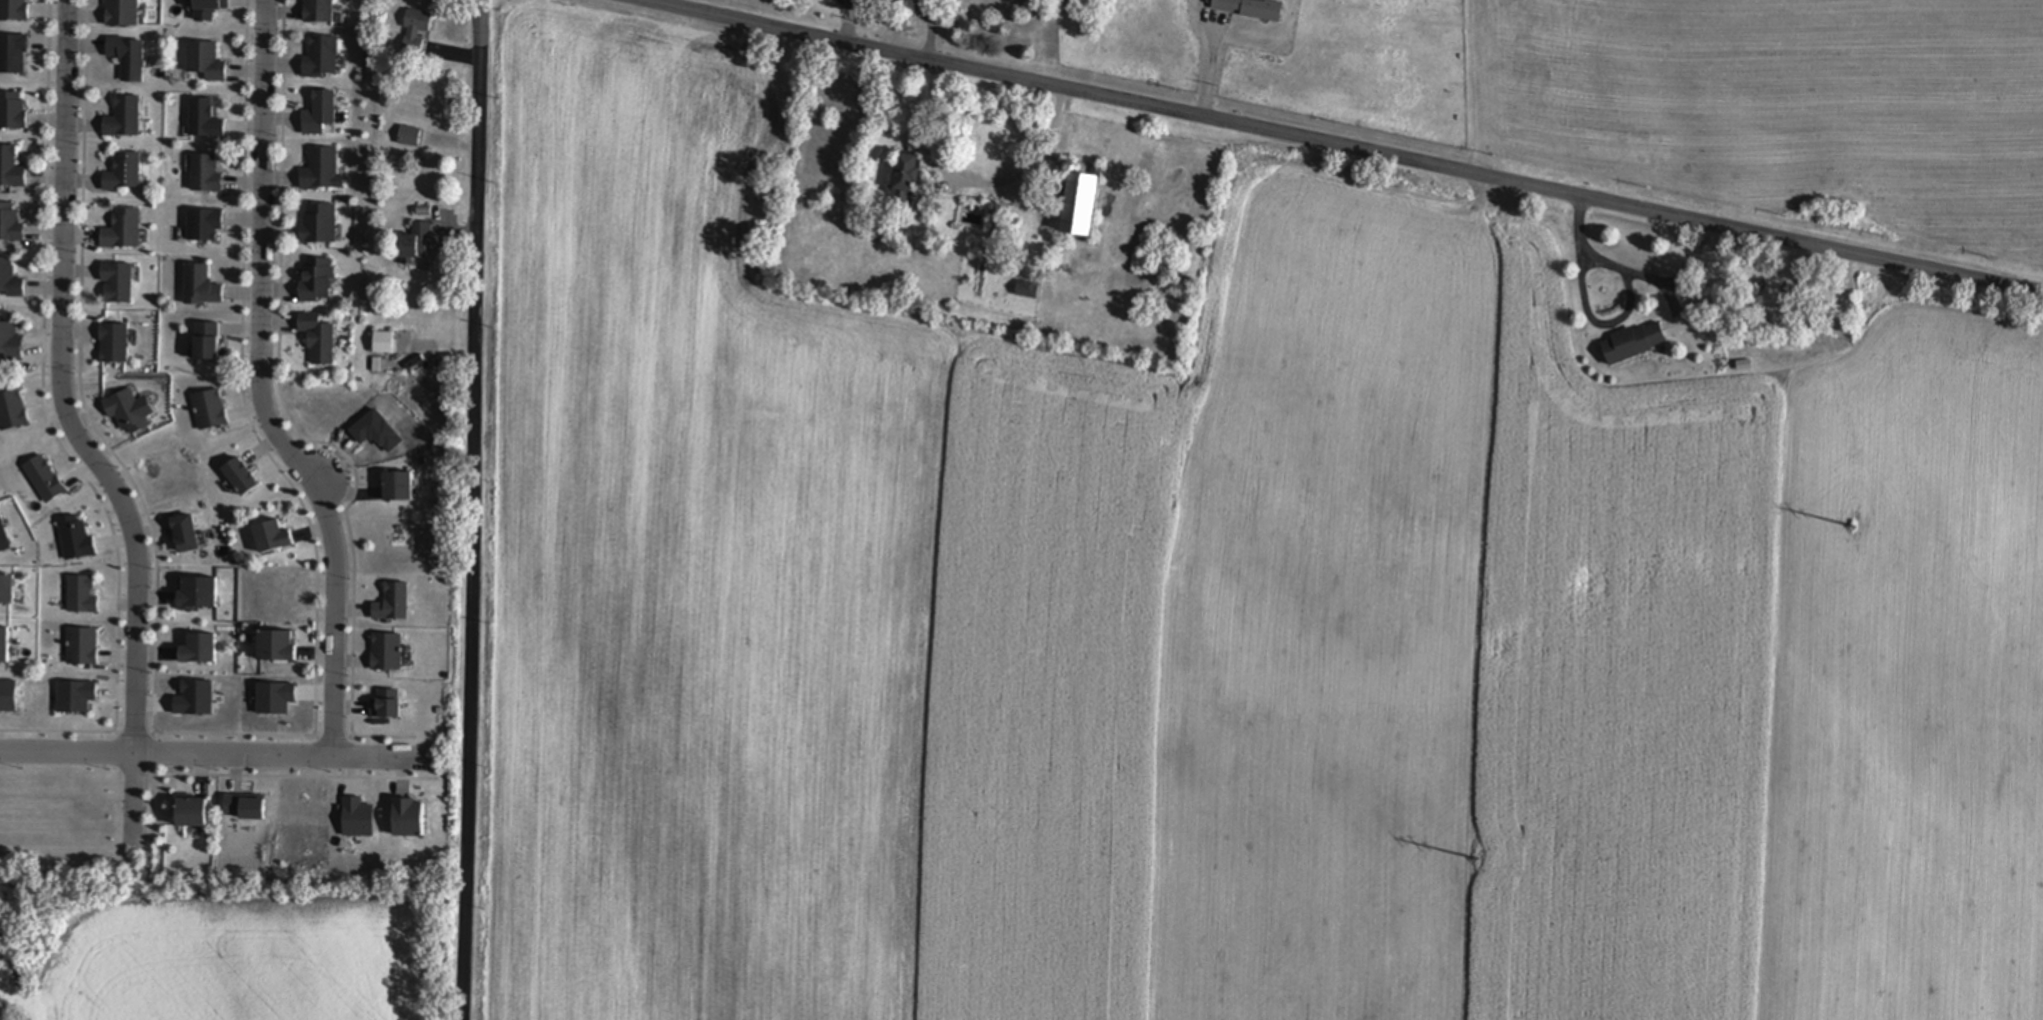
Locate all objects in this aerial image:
building: (208, 9)
building: (1249, 9)
building: (13, 10)
building: (318, 11)
building: (121, 13)
building: (416, 31)
building: (13, 55)
building: (127, 57)
building: (321, 58)
building: (205, 61)
building: (12, 110)
building: (319, 113)
building: (124, 117)
building: (204, 119)
building: (410, 137)
road: (1348, 145)
building: (10, 169)
building: (320, 170)
building: (124, 173)
building: (205, 173)
road: (973, 177)
building: (906, 178)
building: (1081, 203)
building: (10, 224)
building: (318, 224)
building: (204, 225)
building: (123, 229)
building: (415, 243)
building: (9, 280)
building: (315, 280)
building: (117, 283)
building: (200, 286)
building: (1027, 291)
road: (1591, 322)
building: (318, 339)
building: (10, 342)
building: (207, 342)
building: (383, 343)
building: (1634, 343)
building: (115, 344)
road: (263, 389)
road: (77, 438)
building: (398, 486)
road: (476, 509)
power tower: (1854, 527)
building: (271, 537)
power tower: (1893, 577)
building: (7, 590)
building: (196, 594)
building: (4, 646)
building: (275, 647)
building: (198, 650)
road: (213, 758)
building: (244, 807)
building: (191, 813)
building: (408, 818)
park: (61, 826)
power tower: (1478, 861)
power tower: (1567, 865)
crop: (226, 955)

